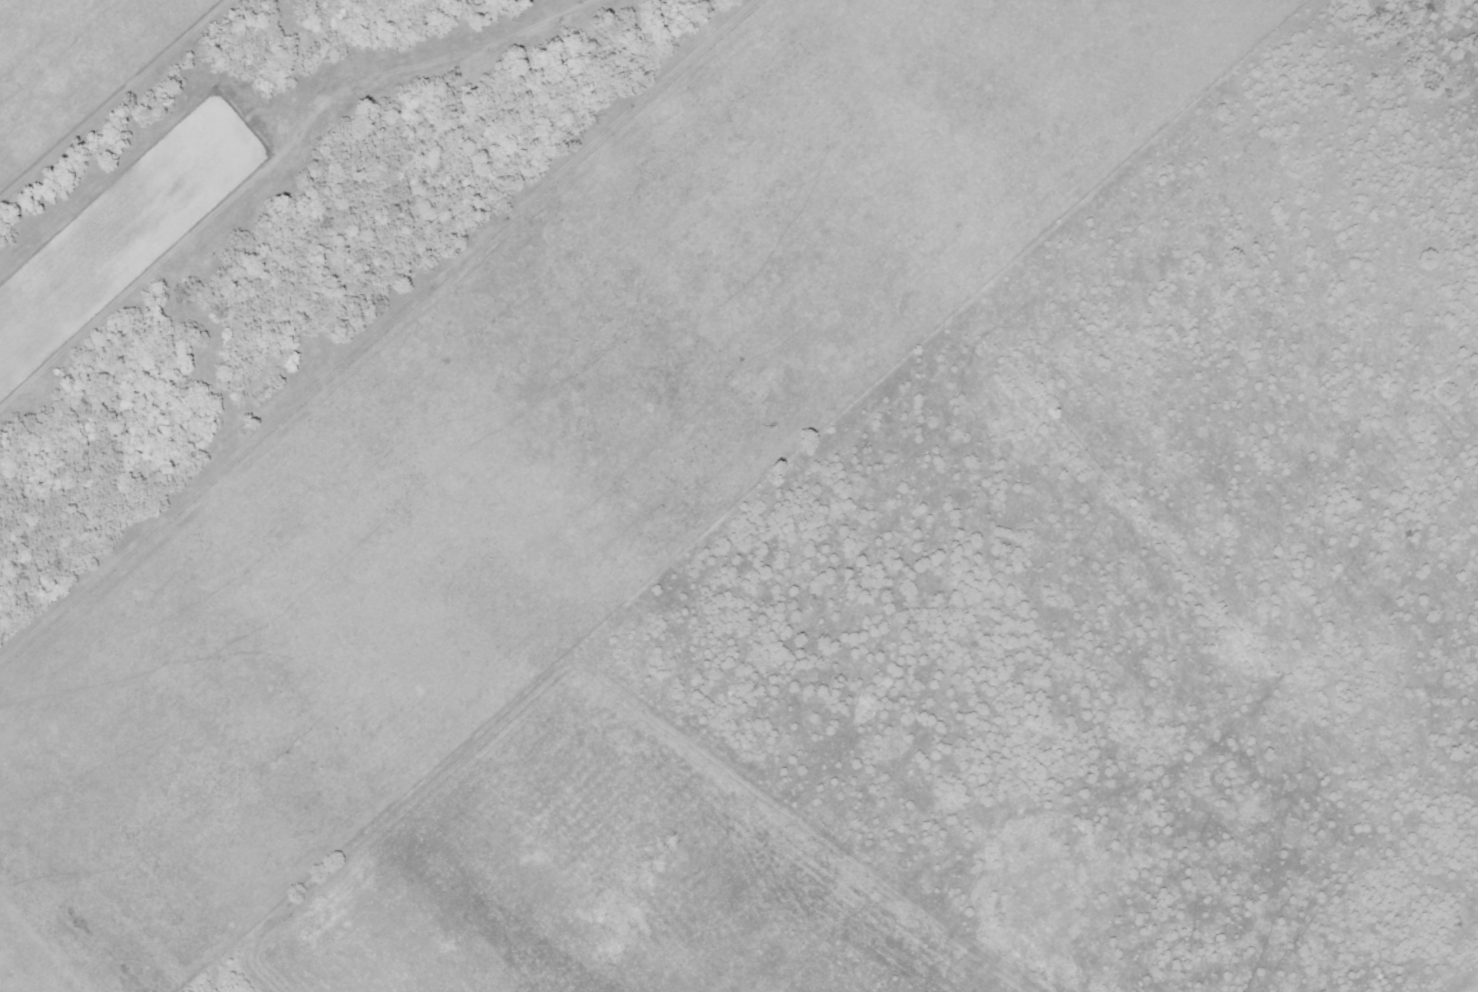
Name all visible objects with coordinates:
road: (778, 485)

